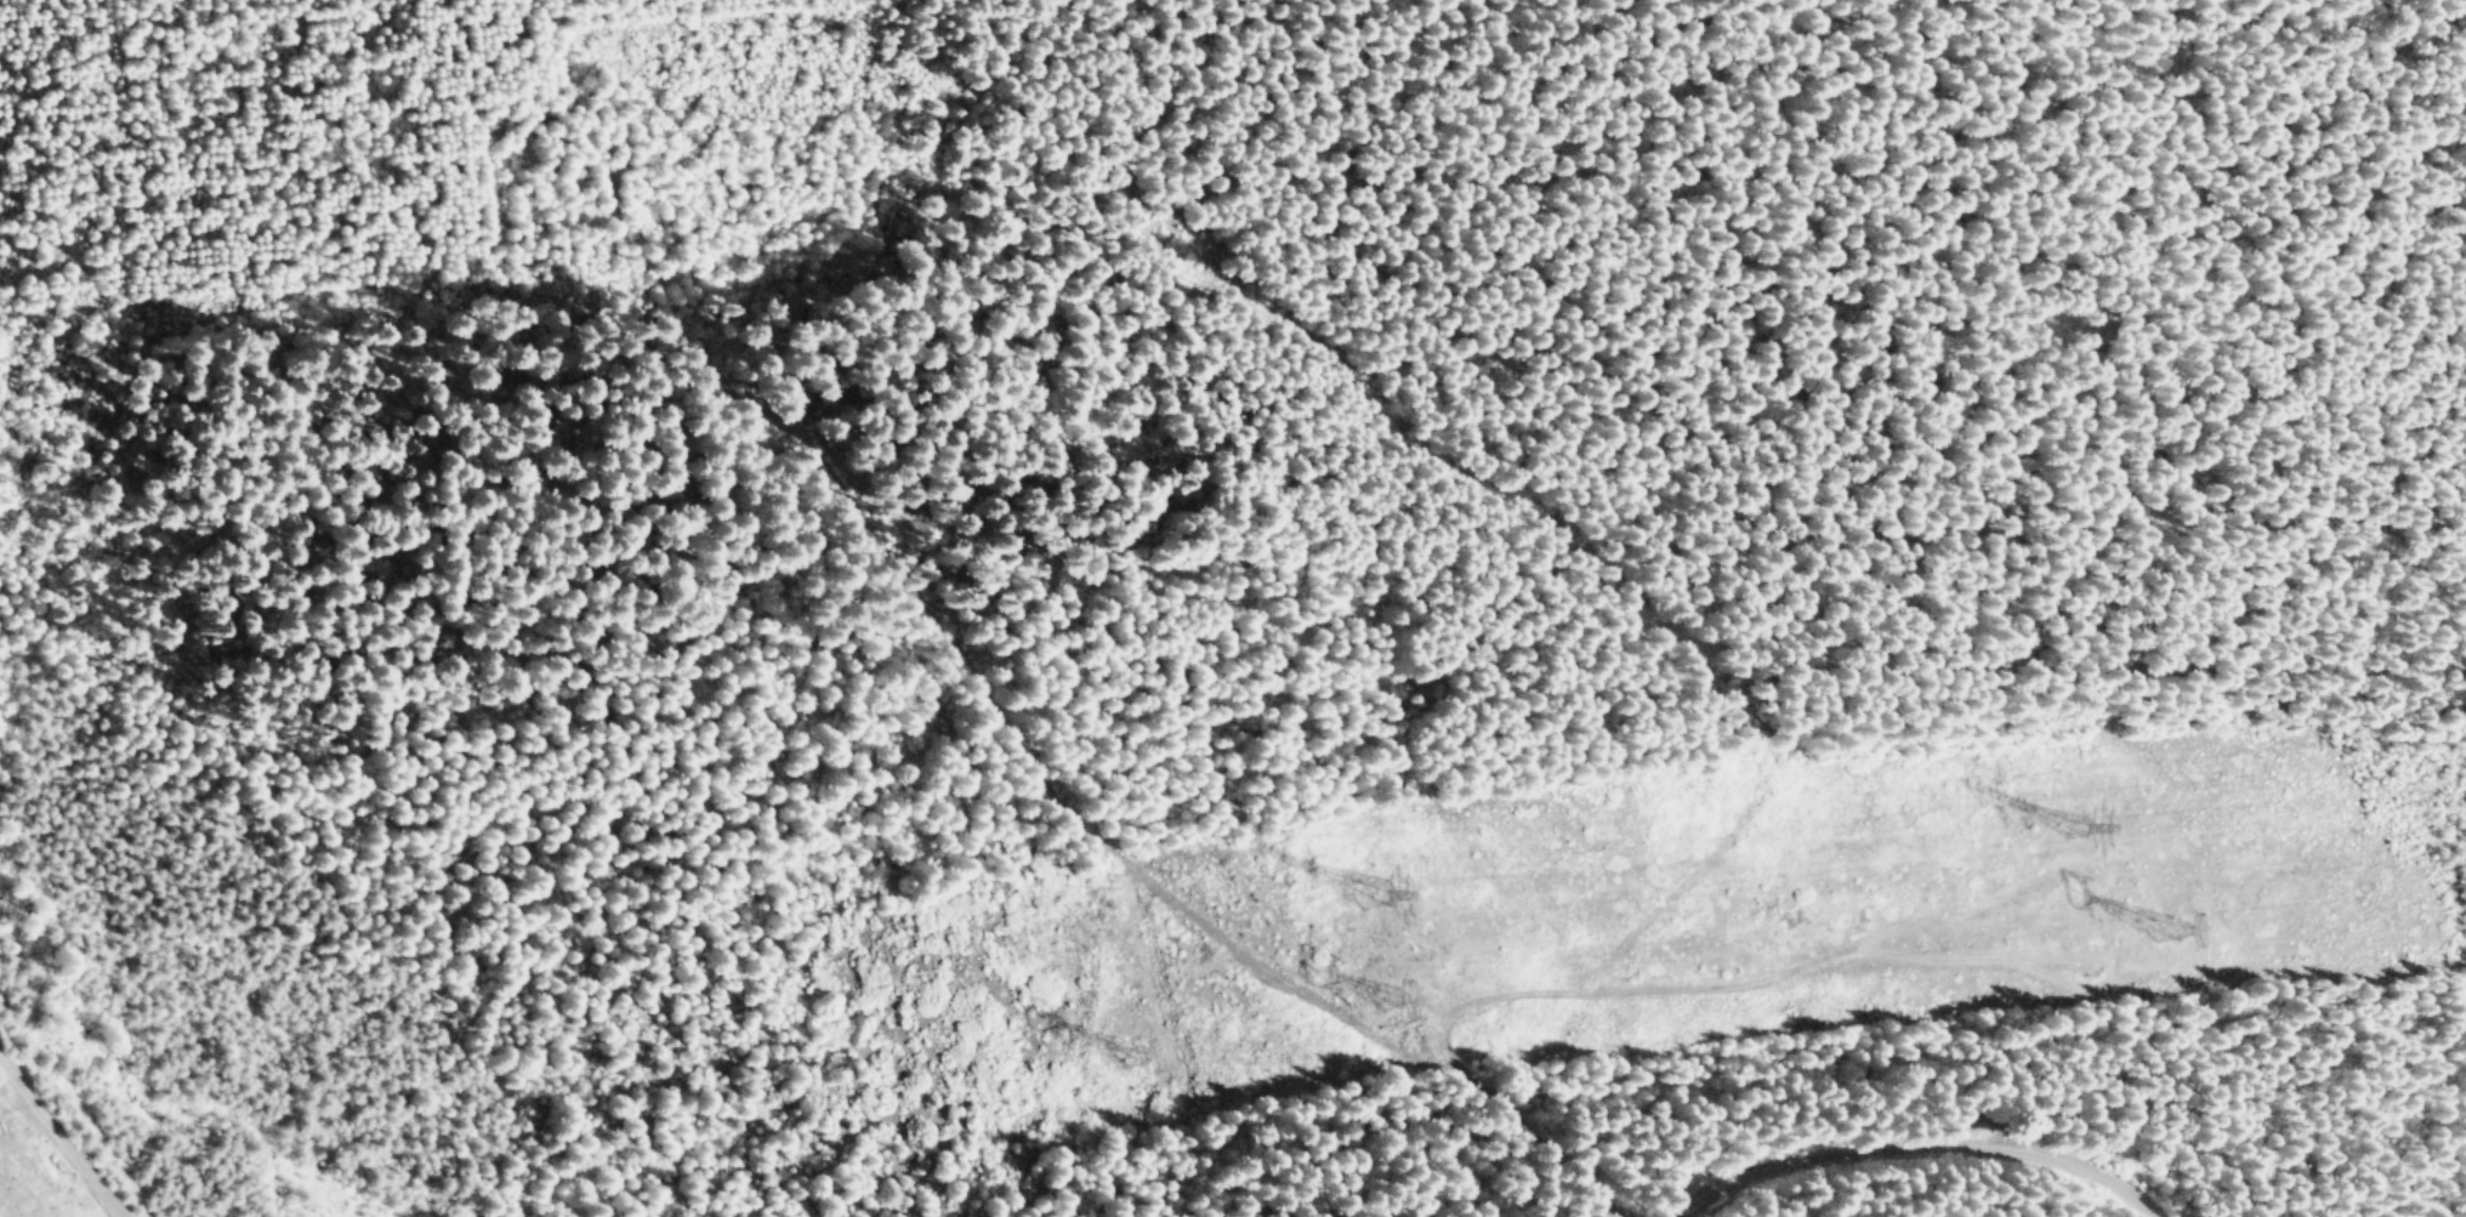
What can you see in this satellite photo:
power tower: (2073, 823)
power tower: (1370, 889)
power tower: (2163, 926)
power tower: (1385, 994)
road: (58, 1133)
road: (1908, 1143)

